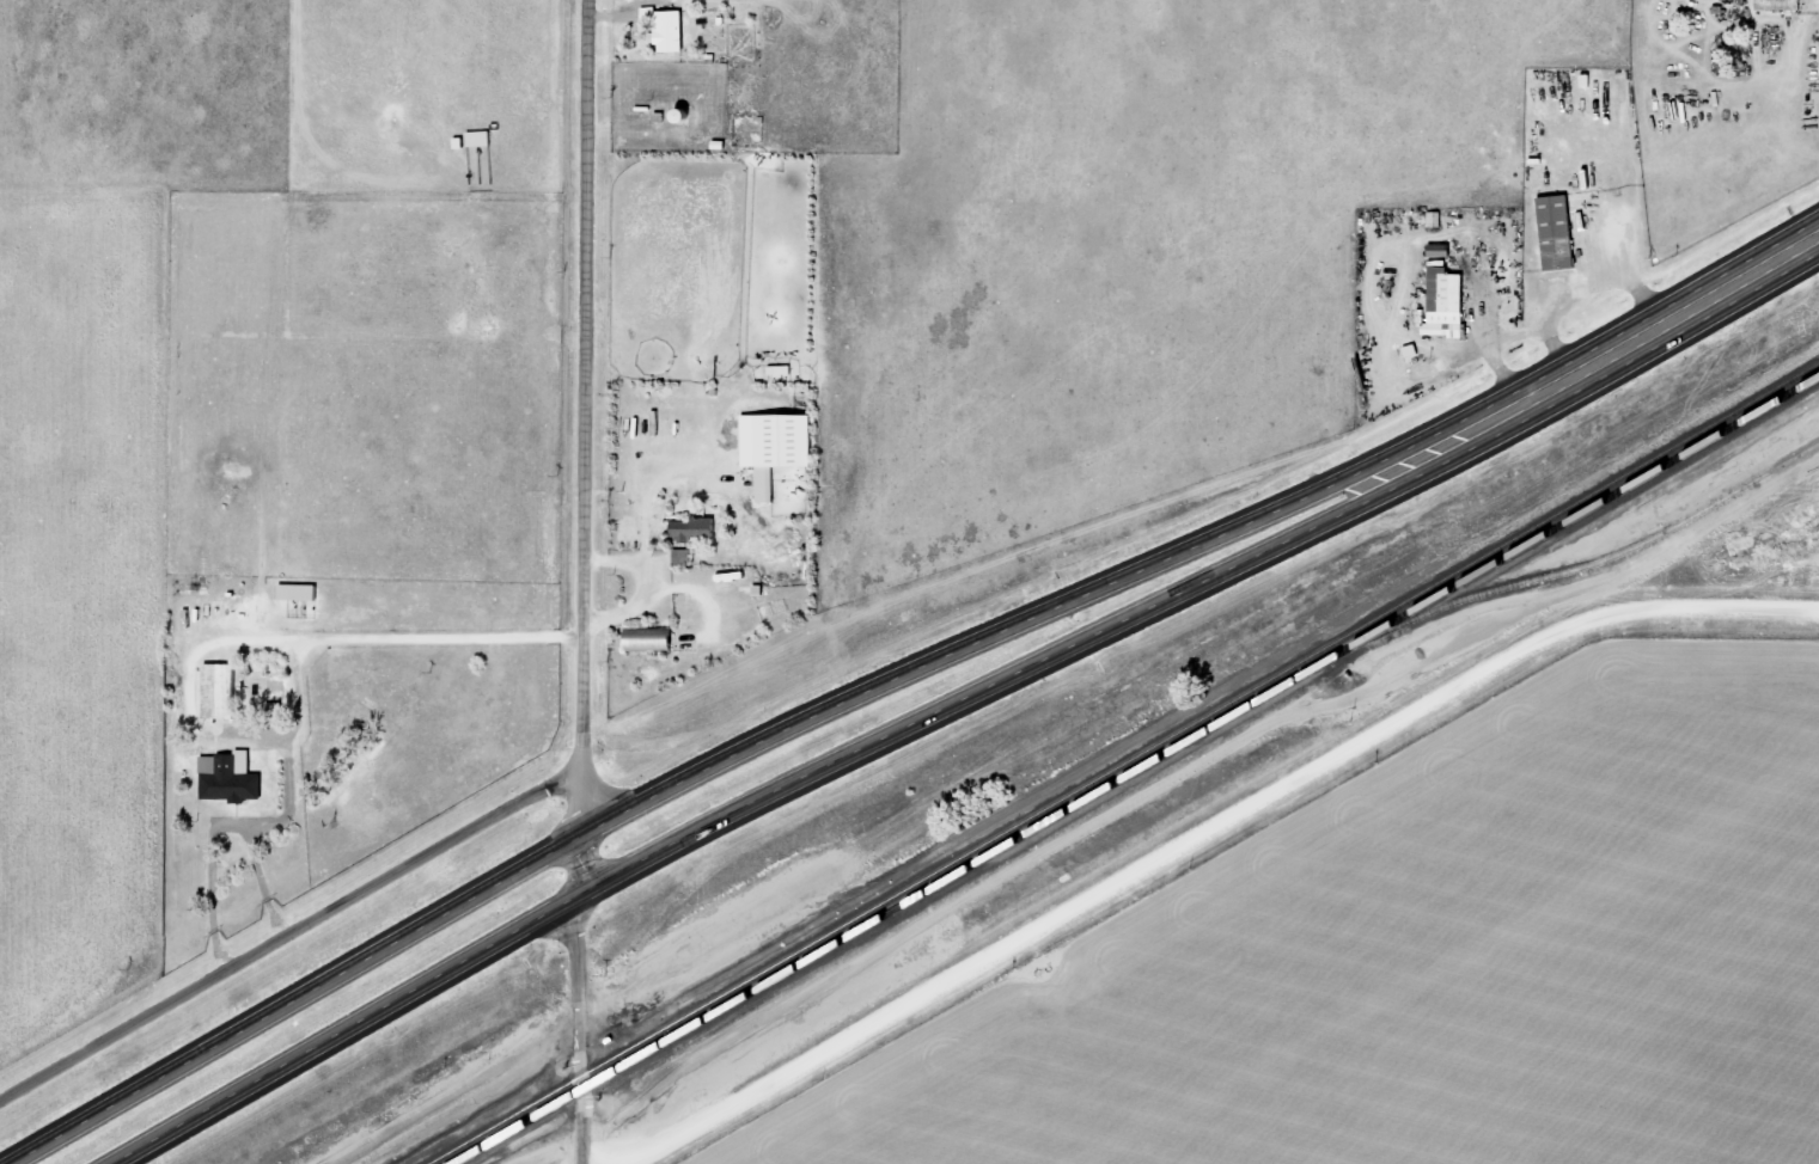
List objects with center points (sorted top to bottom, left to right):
building: (1782, 5)
building: (671, 29)
building: (483, 139)
building: (1561, 233)
building: (1443, 251)
building: (1449, 302)
road: (1606, 357)
building: (780, 446)
building: (698, 529)
building: (684, 557)
railway: (1597, 560)
road: (582, 582)
building: (303, 592)
building: (654, 639)
building: (222, 691)
railway: (1128, 764)
railway: (1137, 770)
building: (232, 778)
road: (685, 780)
road: (750, 805)
road: (1203, 833)
road: (289, 930)

